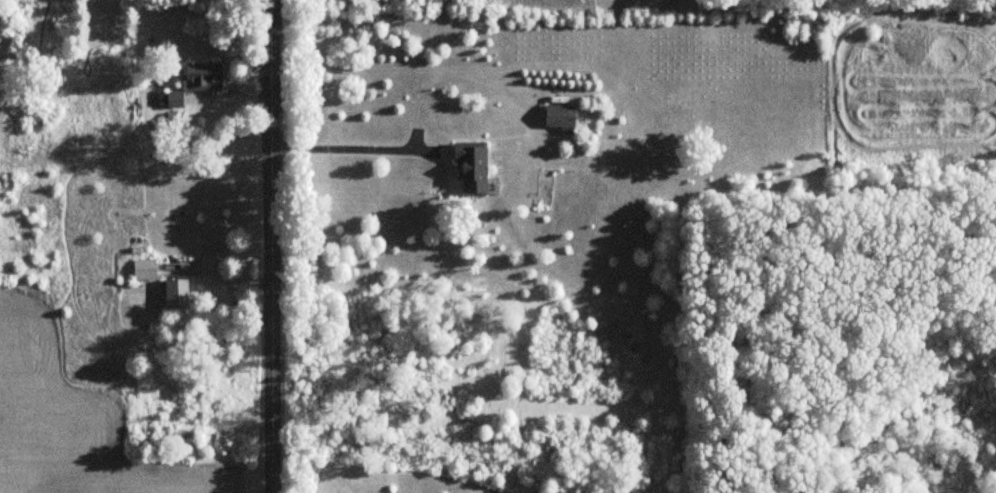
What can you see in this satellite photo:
building: (204, 75)
building: (175, 98)
building: (561, 116)
road: (353, 143)
building: (472, 166)
road: (272, 246)
building: (145, 268)
building: (177, 293)

